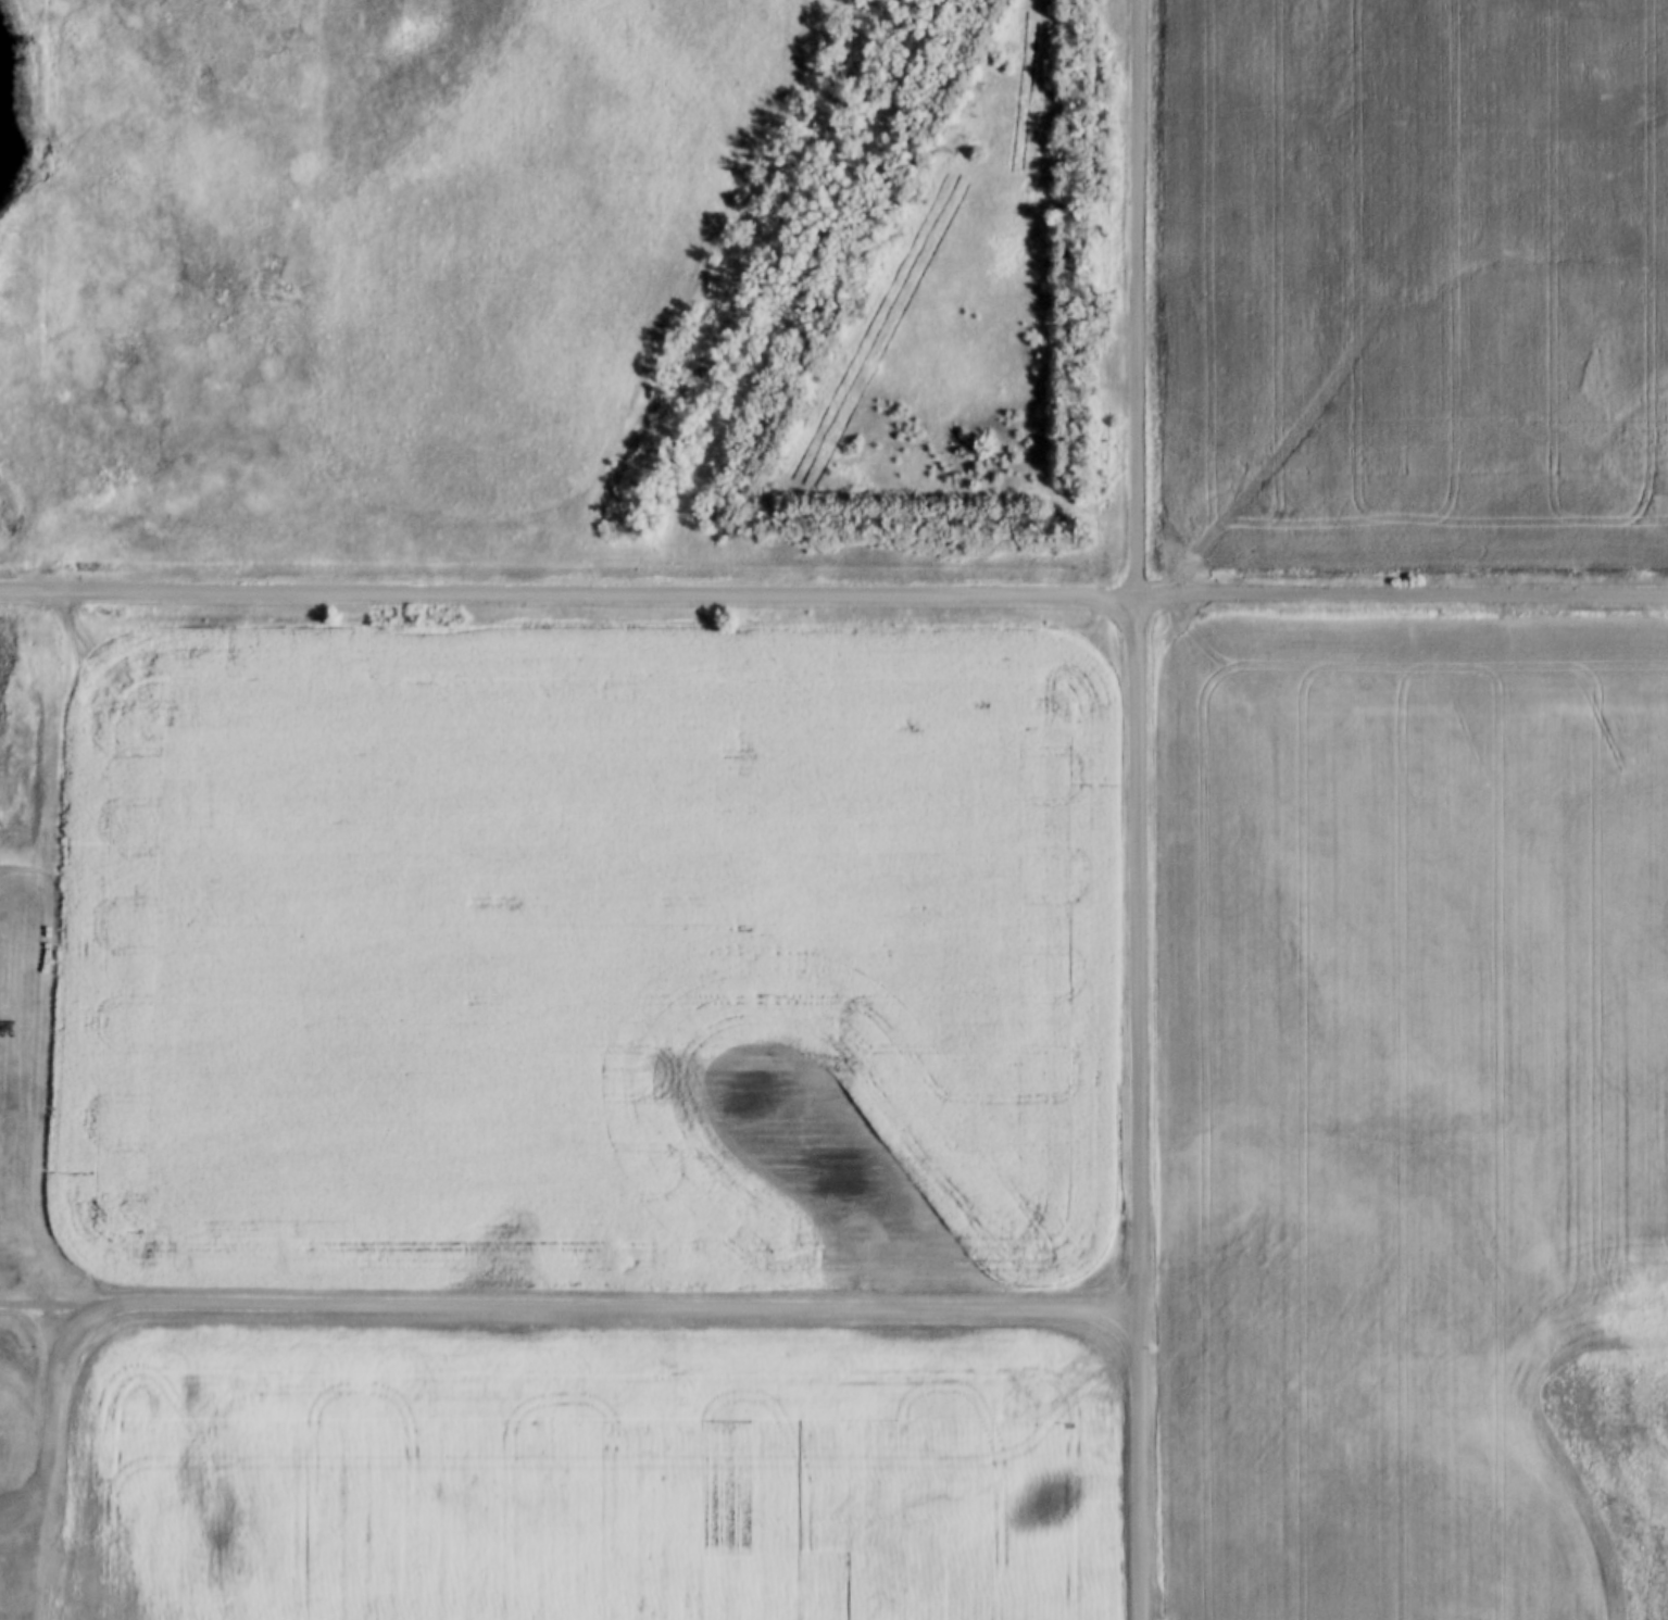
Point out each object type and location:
road: (1402, 592)
road: (568, 593)
road: (1137, 809)
road: (569, 1308)
road: (40, 1452)
road: (17, 1511)

